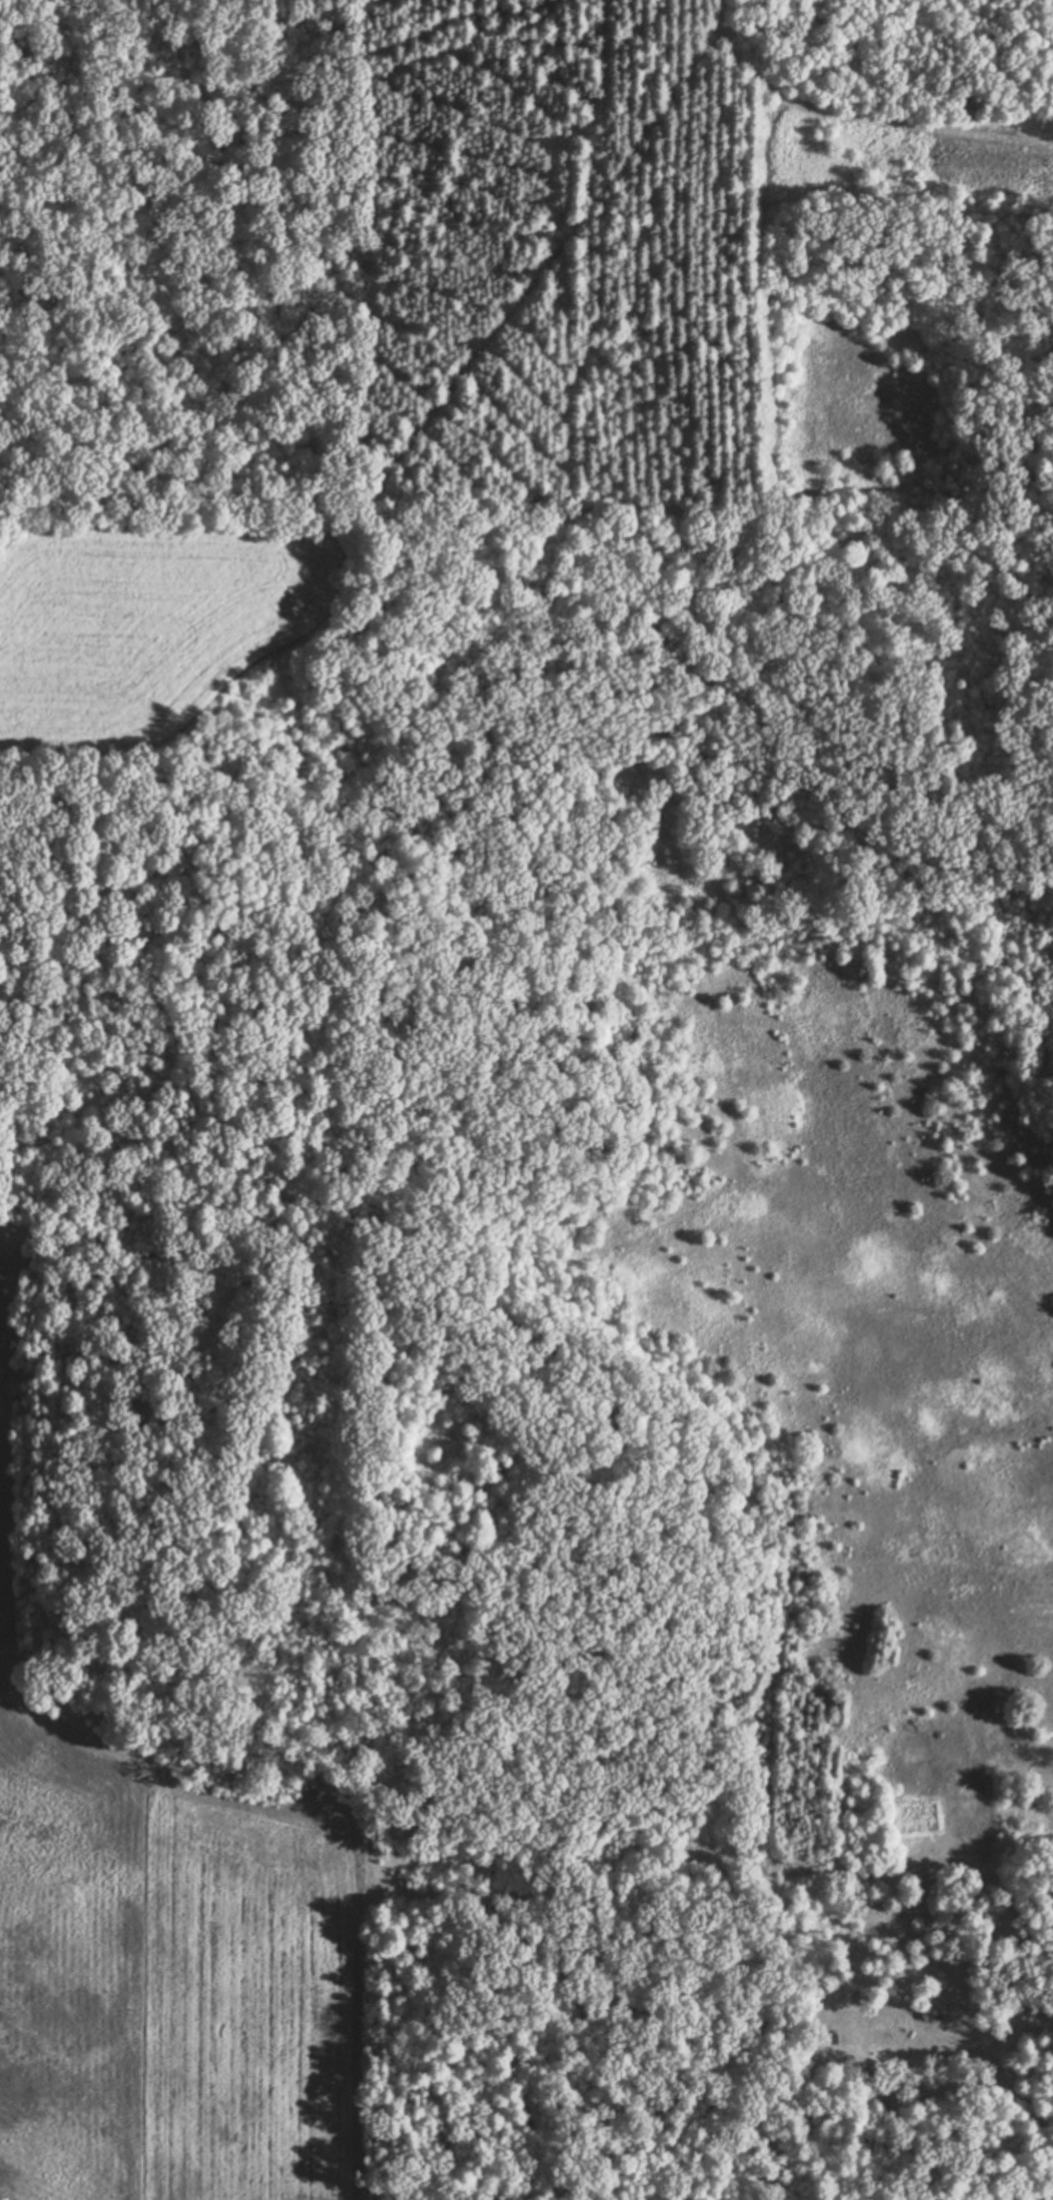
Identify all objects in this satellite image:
building: (800, 1862)
road: (995, 2067)

